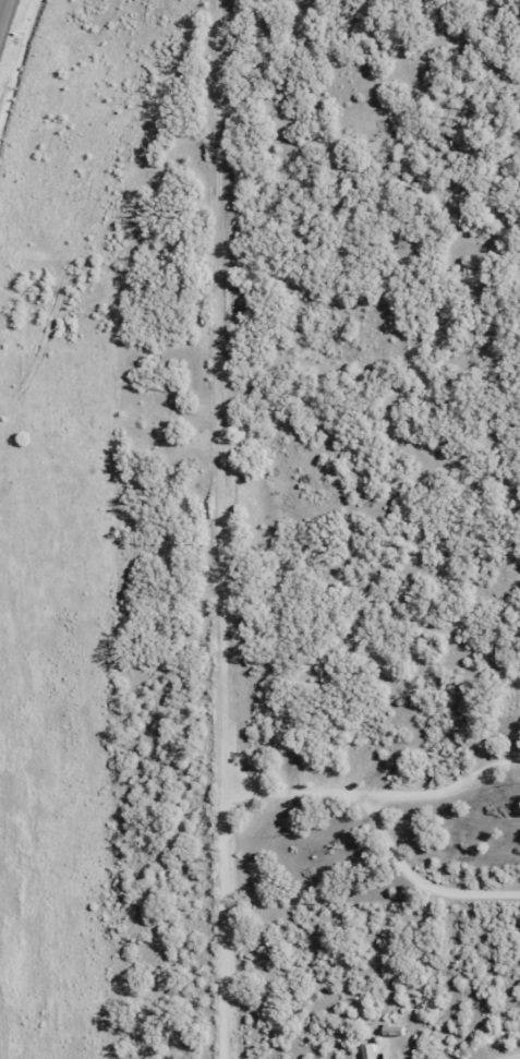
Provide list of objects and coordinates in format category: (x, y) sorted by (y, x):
road: (3, 12)
road: (219, 529)
road: (290, 789)
road: (442, 789)
road: (418, 878)
road: (512, 1057)

